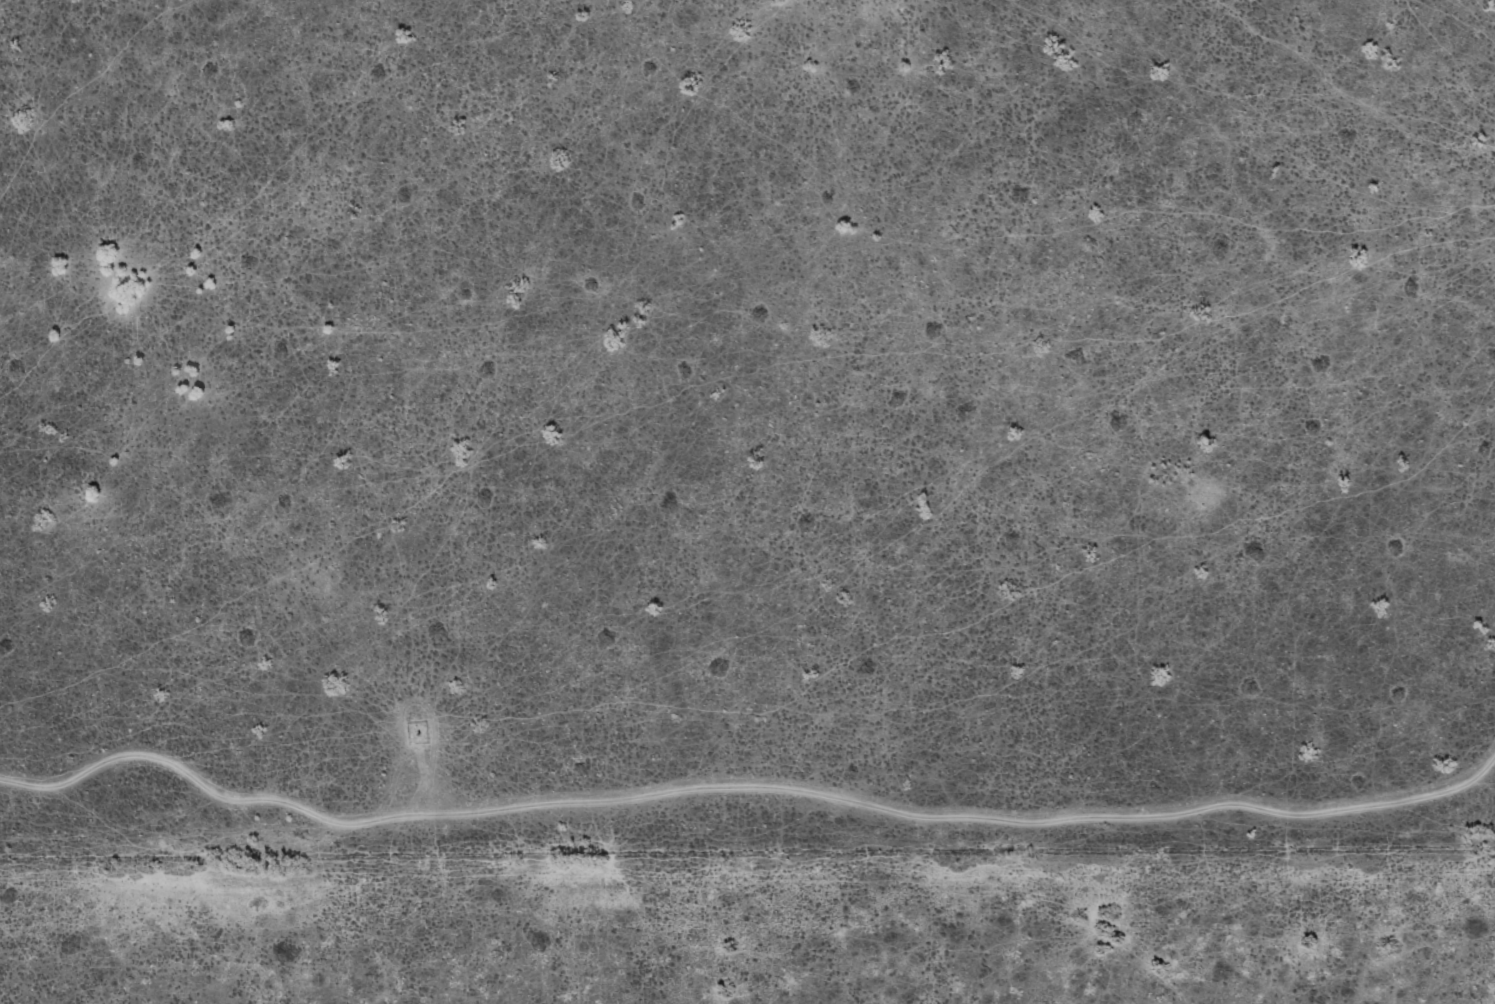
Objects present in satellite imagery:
road: (758, 744)

